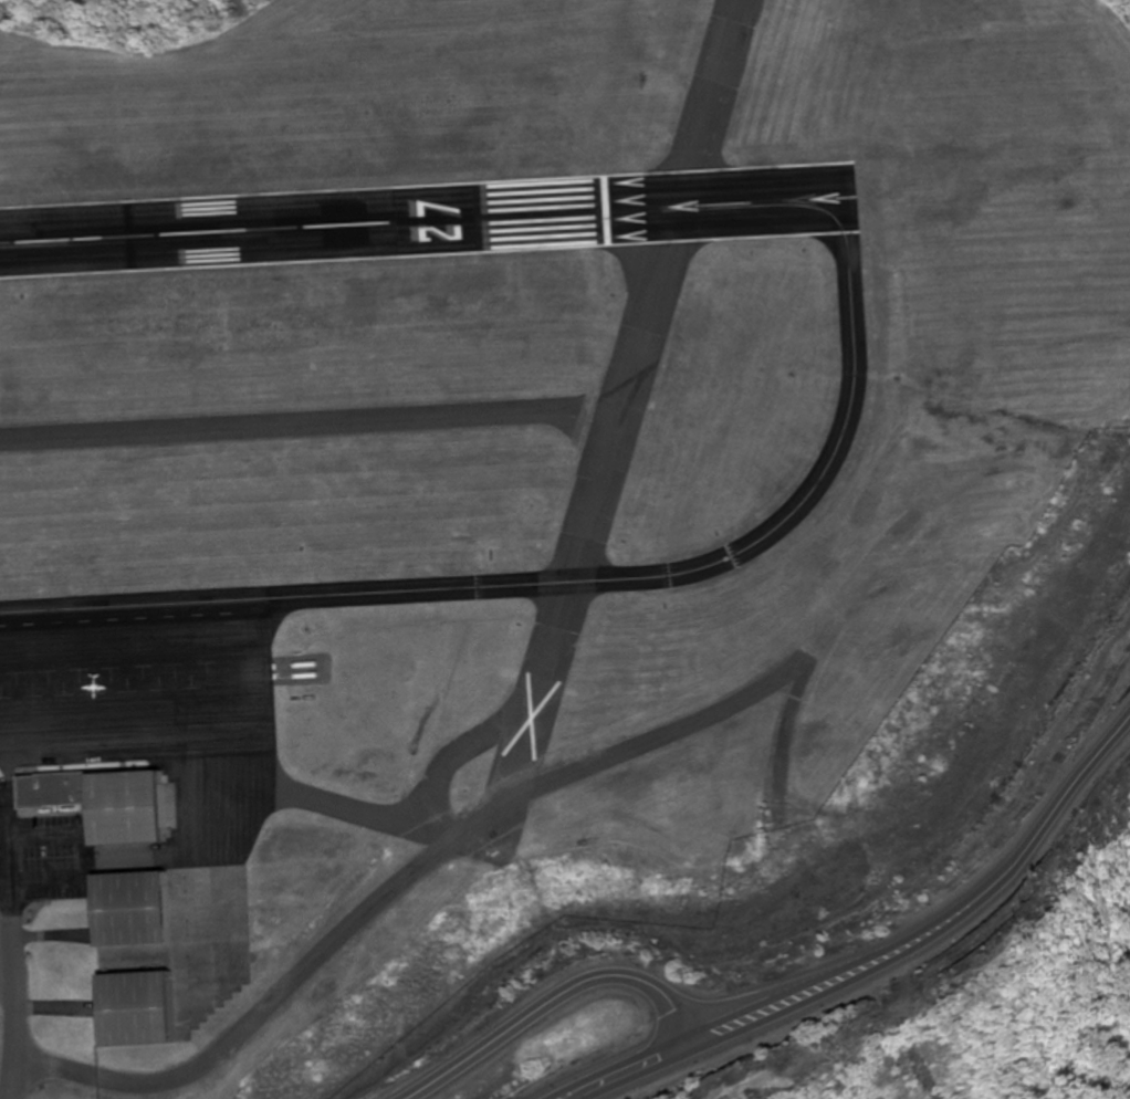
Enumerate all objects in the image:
airport runway: (429, 214)
airport taxiway: (702, 566)
airport apron: (148, 692)
building: (56, 789)
airport hangar: (133, 808)
building: (133, 808)
airport hangar: (135, 902)
building: (135, 902)
road: (929, 912)
road: (6, 923)
road: (535, 1002)
airport hangar: (139, 1005)
building: (139, 1005)
road: (603, 1070)

